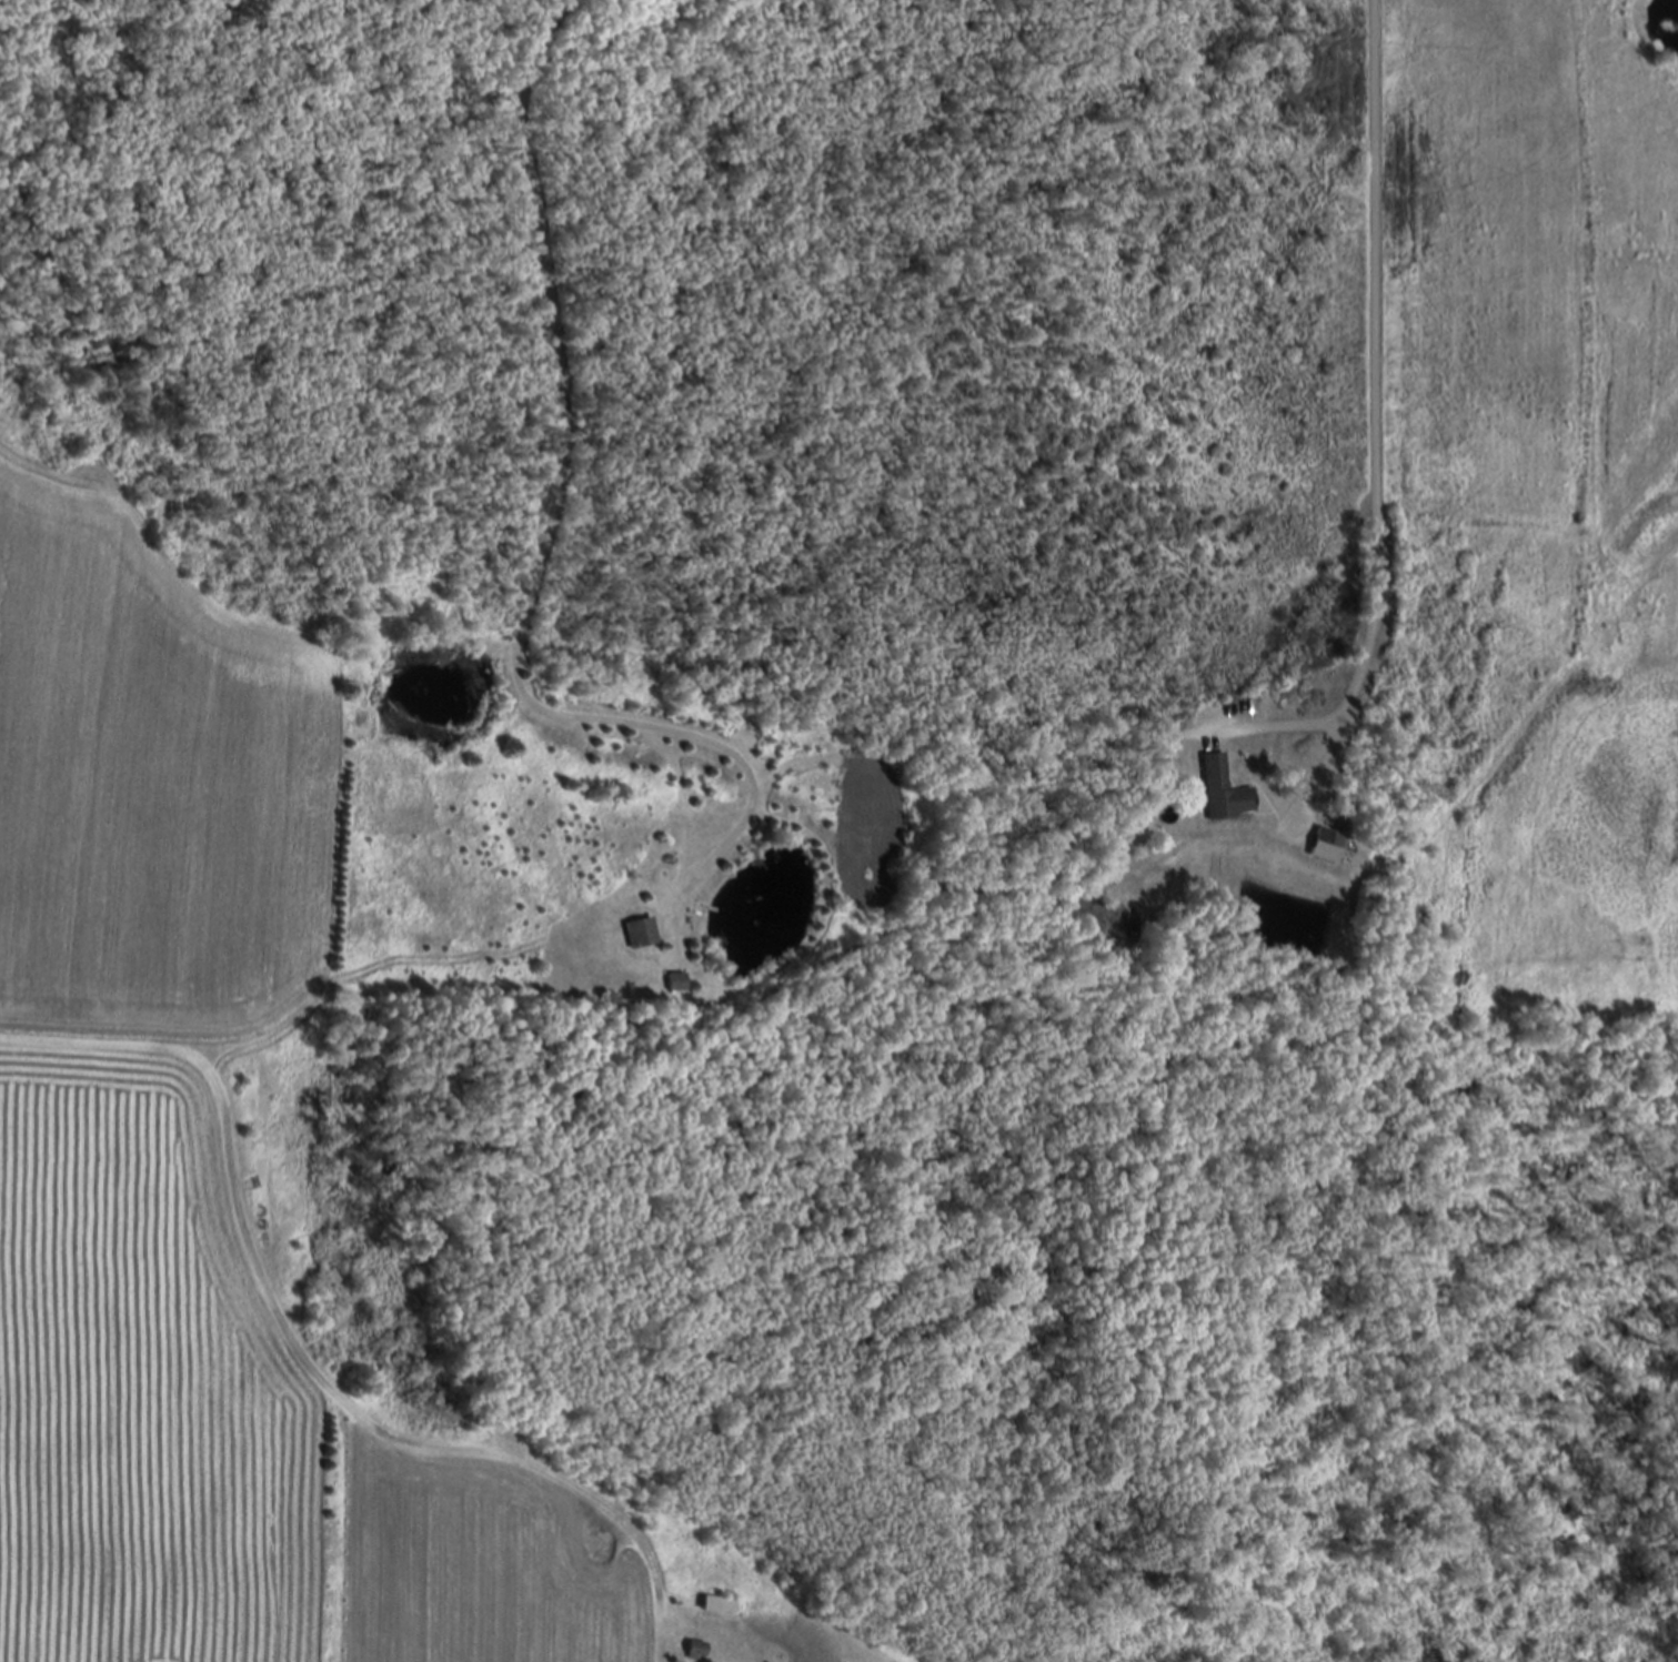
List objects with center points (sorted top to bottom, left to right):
road: (1377, 413)
road: (553, 520)
road: (1278, 726)
building: (1219, 789)
building: (1322, 845)
building: (637, 933)
building: (673, 981)
building: (692, 1649)

